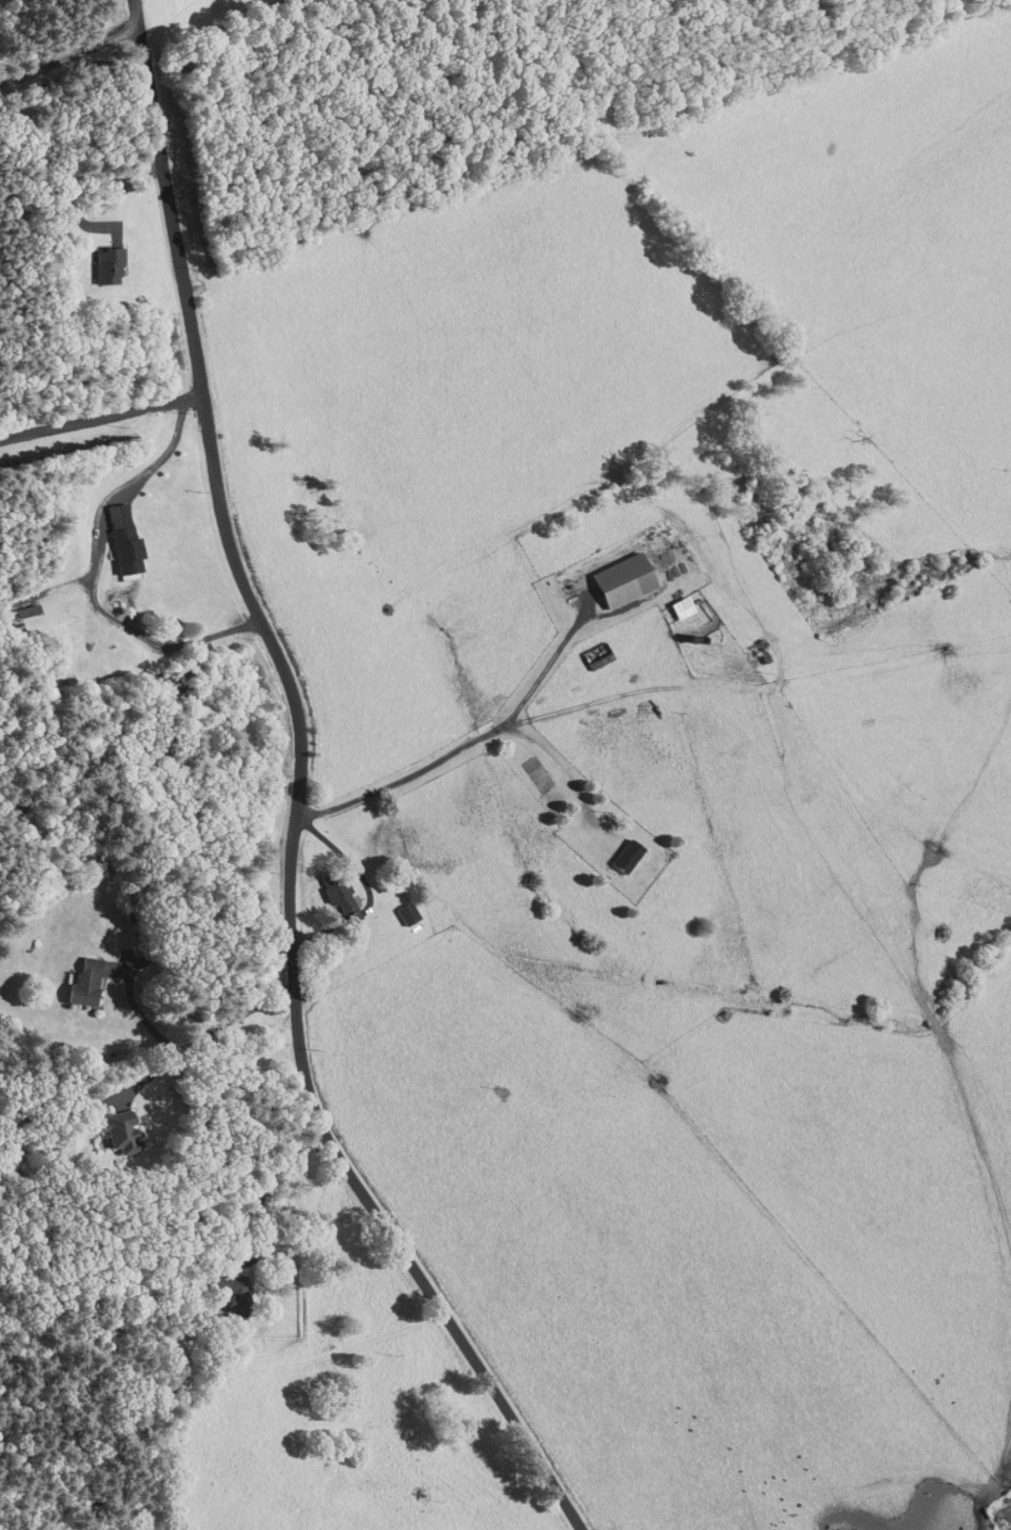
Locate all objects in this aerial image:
road: (102, 417)
road: (108, 614)
road: (192, 644)
road: (546, 670)
road: (643, 693)
road: (559, 760)
road: (300, 793)
road: (161, 958)
road: (237, 1018)
road: (266, 1185)

